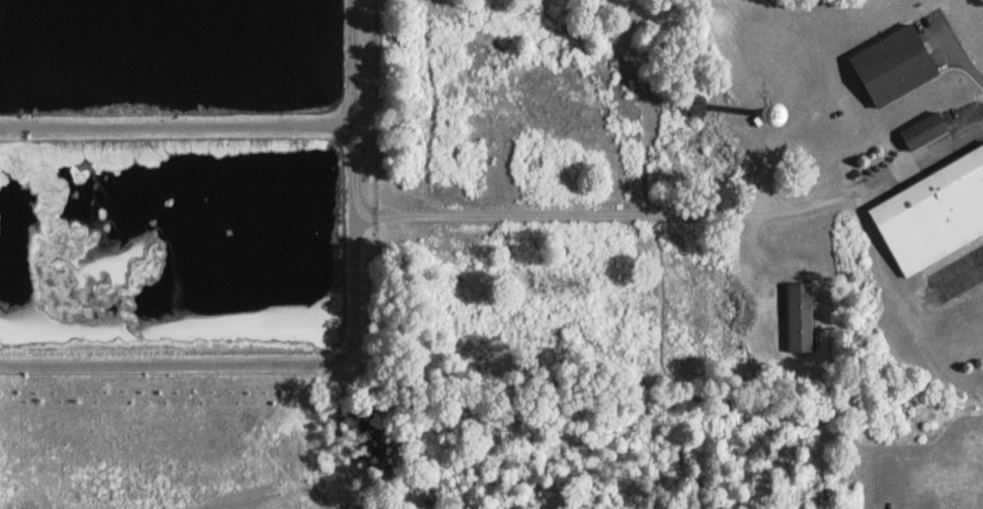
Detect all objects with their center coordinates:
parking lot: (935, 36)
road: (972, 66)
building: (890, 67)
building: (920, 132)
road: (871, 176)
building: (932, 214)
road: (759, 246)
parking lot: (958, 272)
building: (927, 307)
building: (797, 318)

